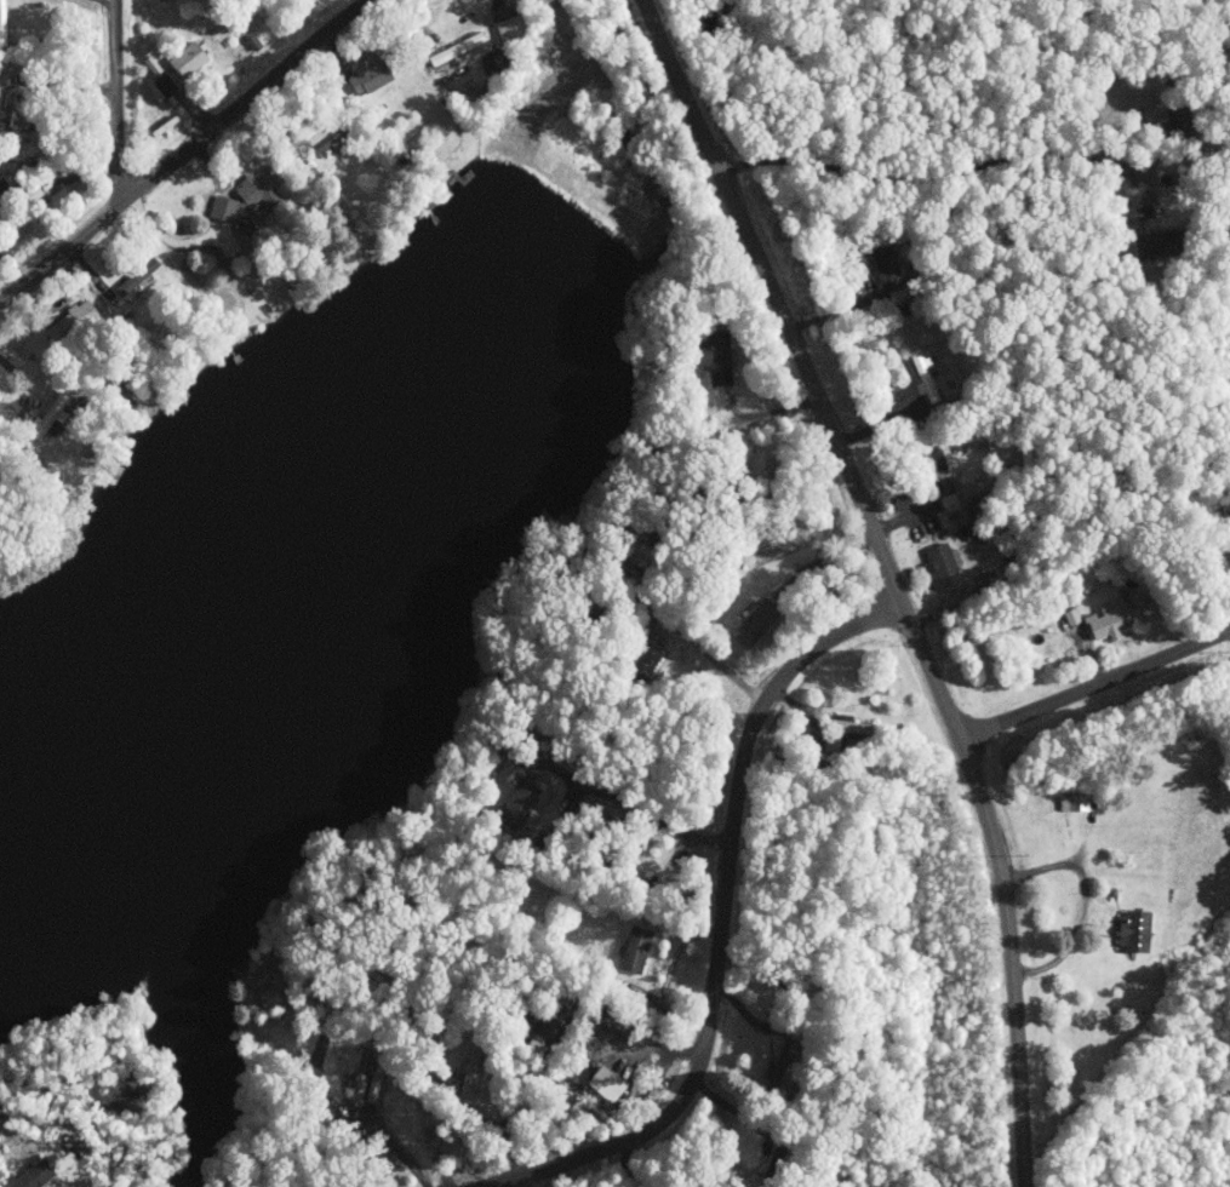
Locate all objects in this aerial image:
road: (109, 4)
building: (4, 23)
building: (514, 29)
building: (462, 46)
building: (190, 61)
building: (156, 64)
building: (374, 76)
road: (116, 98)
road: (184, 150)
road: (942, 171)
dam: (563, 187)
building: (261, 189)
building: (248, 224)
building: (887, 264)
building: (136, 283)
building: (75, 320)
building: (720, 361)
building: (926, 374)
building: (53, 413)
building: (948, 476)
building: (951, 501)
building: (944, 566)
road: (892, 578)
building: (1075, 615)
building: (1111, 617)
building: (759, 621)
road: (714, 659)
building: (648, 660)
road: (1095, 683)
building: (525, 797)
building: (1077, 802)
road: (647, 814)
road: (1082, 900)
road: (721, 919)
building: (1137, 929)
building: (639, 950)
building: (364, 1062)
building: (790, 1063)
building: (606, 1079)
road: (394, 1149)
building: (38, 1175)

